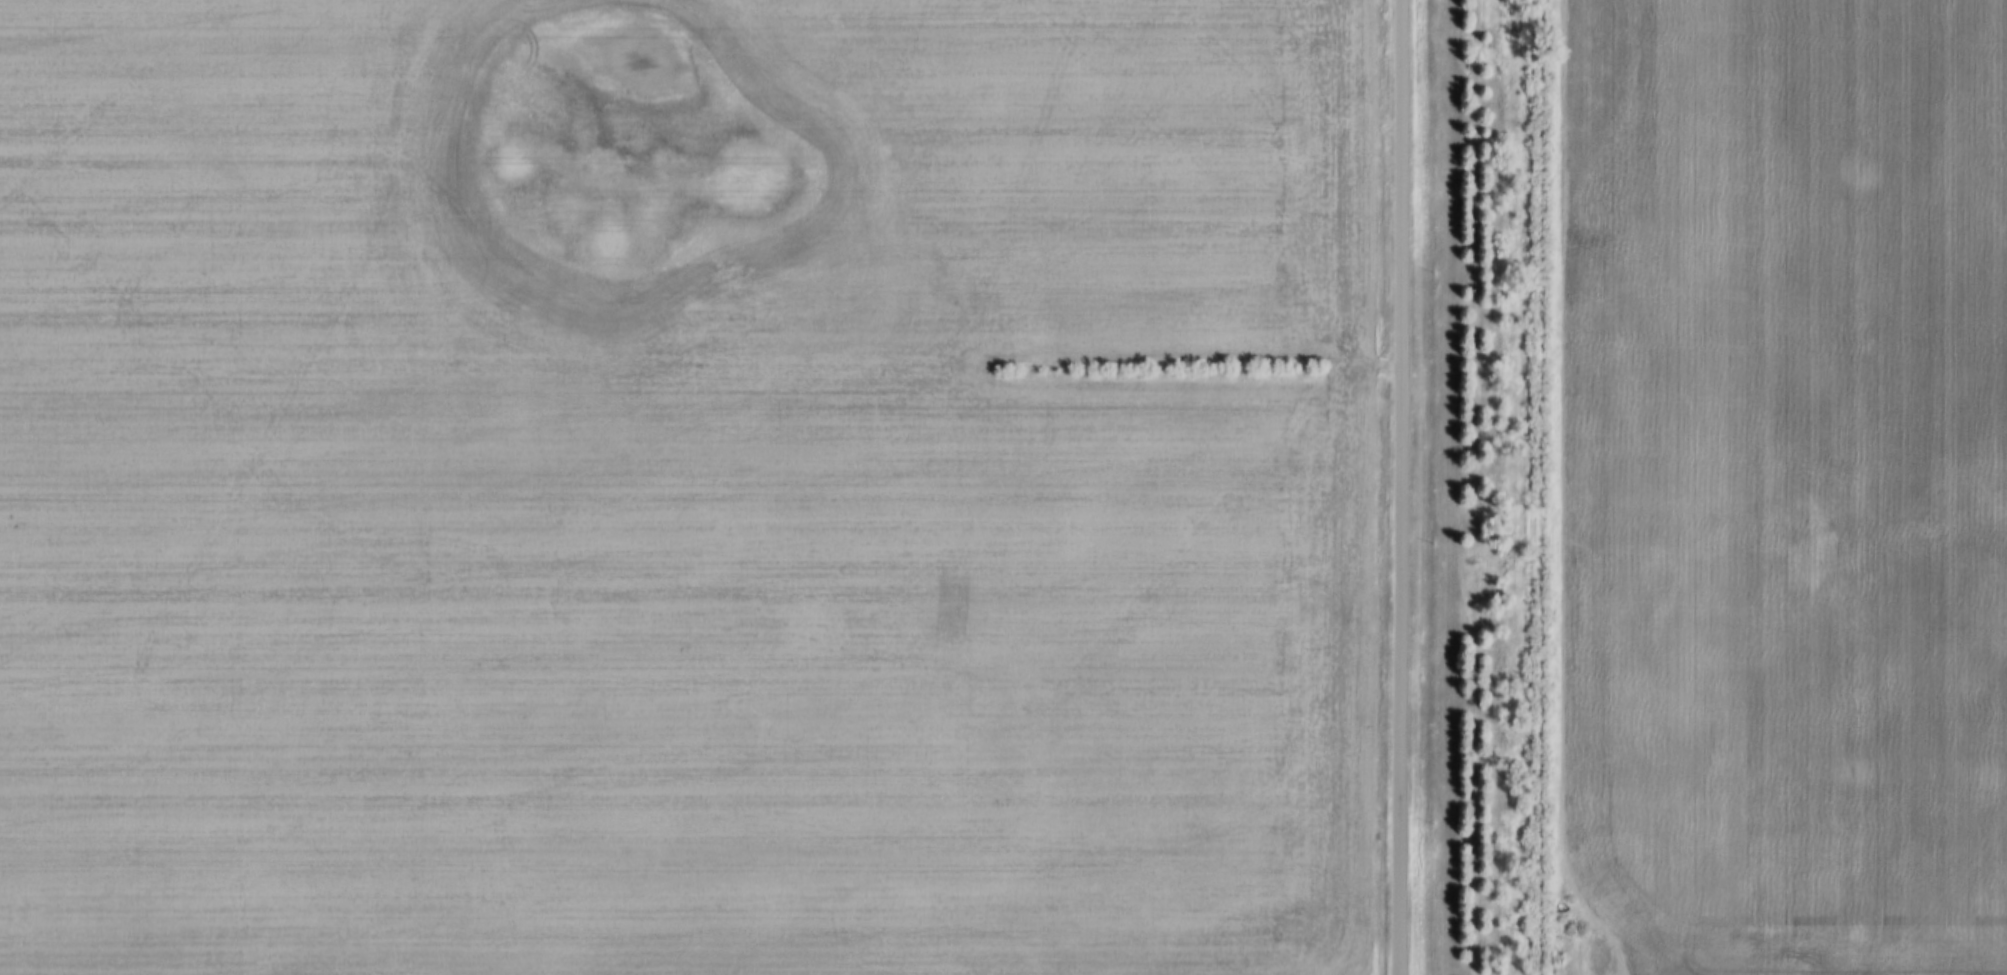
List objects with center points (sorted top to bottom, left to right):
road: (1400, 487)

